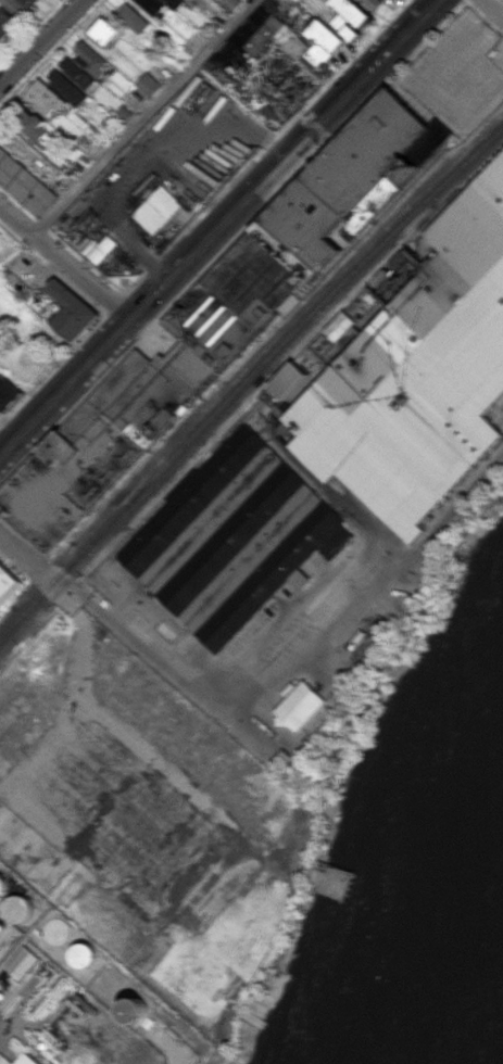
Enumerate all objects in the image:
road: (491, 10)
road: (40, 42)
road: (143, 118)
chimney: (417, 166)
building: (24, 182)
road: (216, 226)
road: (63, 263)
building: (72, 309)
building: (219, 319)
building: (412, 370)
railway: (246, 378)
railway: (246, 392)
building: (8, 393)
railway: (118, 519)
road: (23, 554)
building: (8, 584)
road: (294, 667)
building: (301, 706)
building: (22, 962)
building: (25, 1060)

